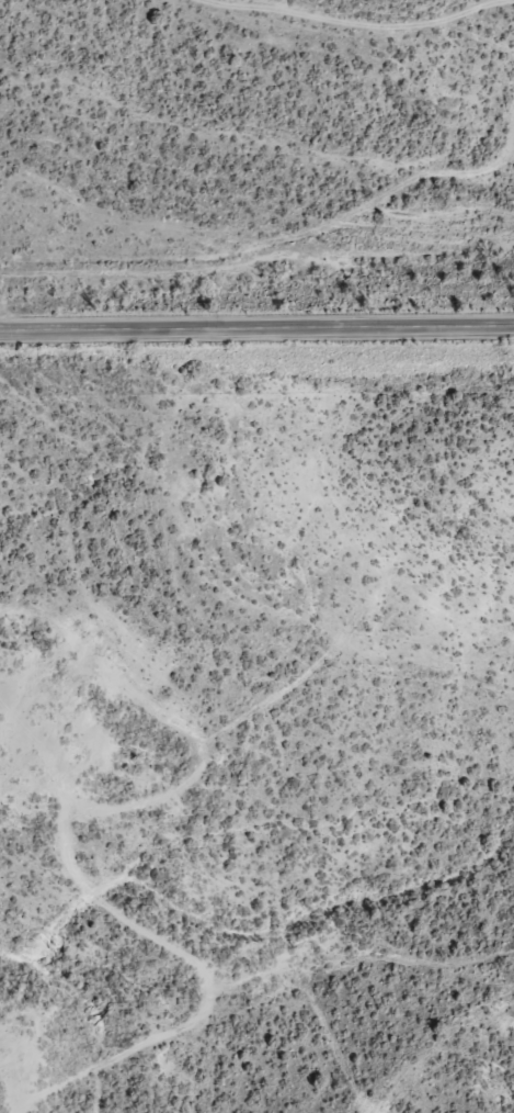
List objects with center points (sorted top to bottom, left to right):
road: (256, 326)
road: (158, 963)

